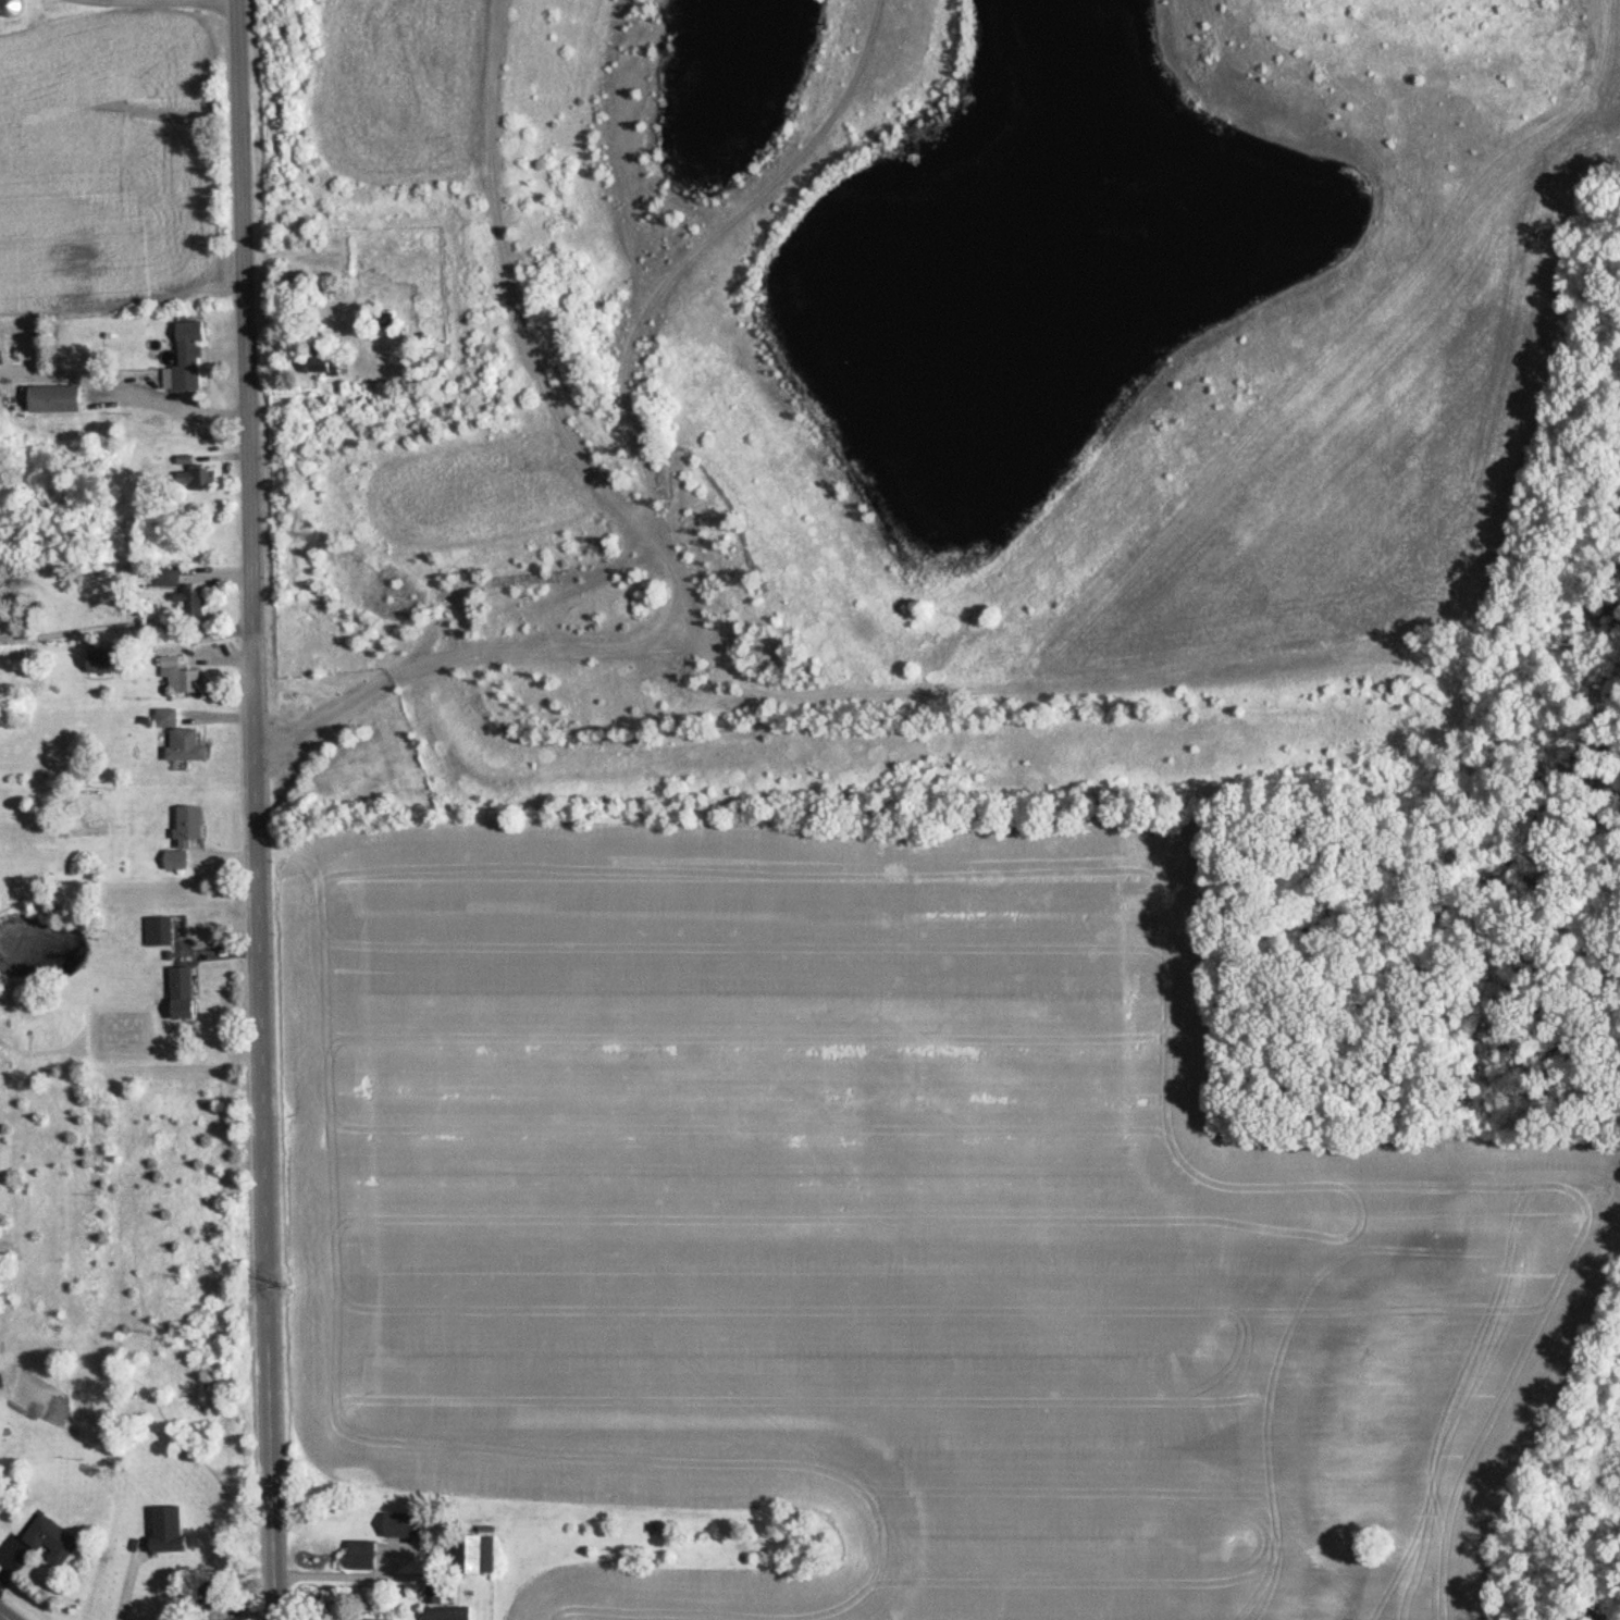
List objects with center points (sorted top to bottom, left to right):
road: (168, 1)
building: (10, 7)
building: (386, 322)
building: (185, 354)
building: (323, 360)
building: (53, 397)
building: (200, 474)
building: (169, 573)
building: (509, 580)
building: (193, 602)
building: (99, 661)
building: (183, 676)
building: (180, 738)
road: (257, 809)
building: (185, 834)
building: (159, 930)
building: (182, 992)
building: (404, 1524)
building: (168, 1529)
building: (51, 1538)
building: (477, 1553)
building: (361, 1555)
road: (395, 1563)
building: (446, 1612)
road: (4, 1616)
building: (371, 1619)

